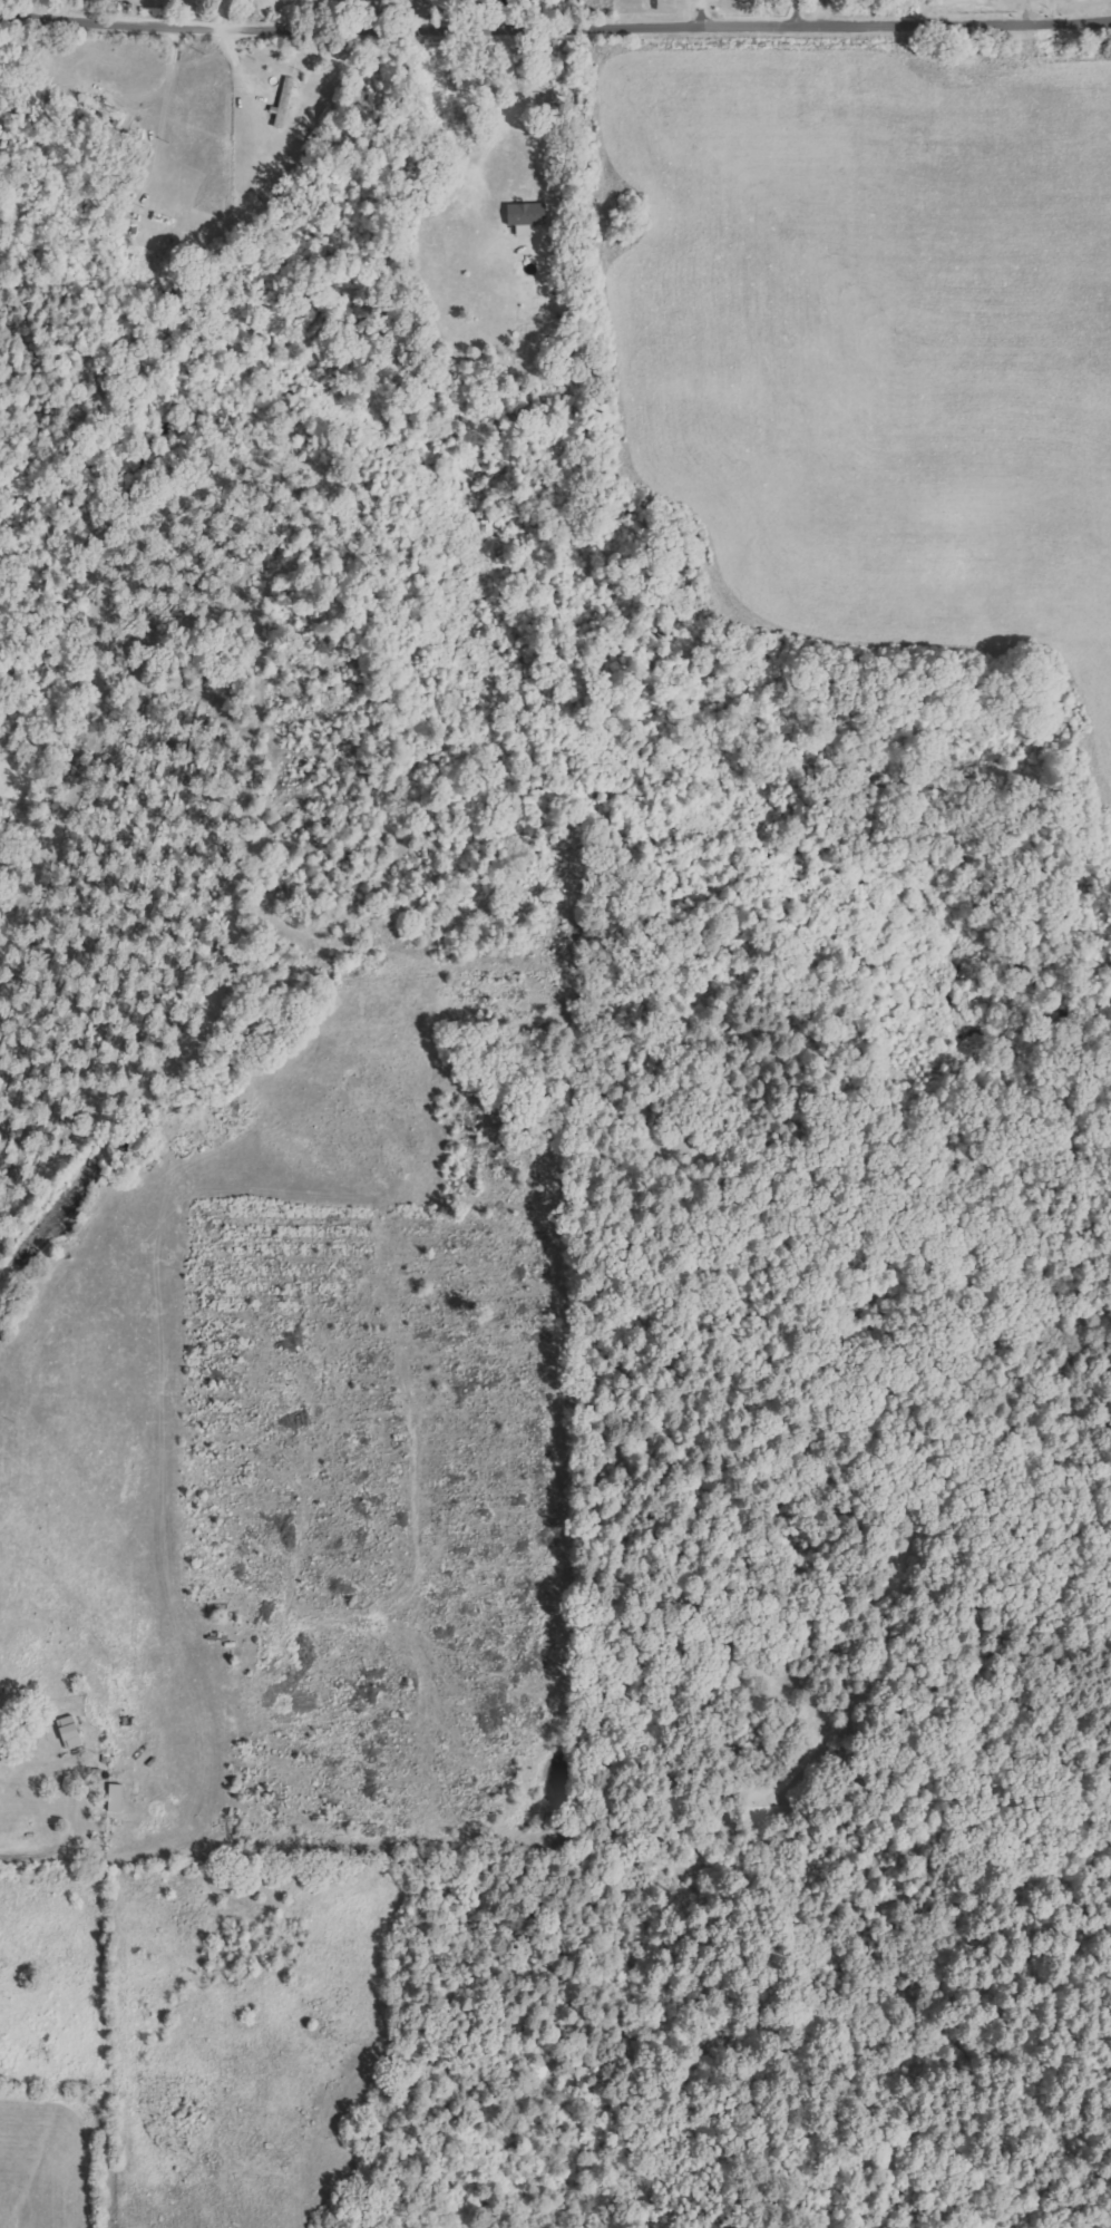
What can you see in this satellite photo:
road: (555, 27)
building: (529, 216)
building: (74, 1731)
road: (9, 1858)

